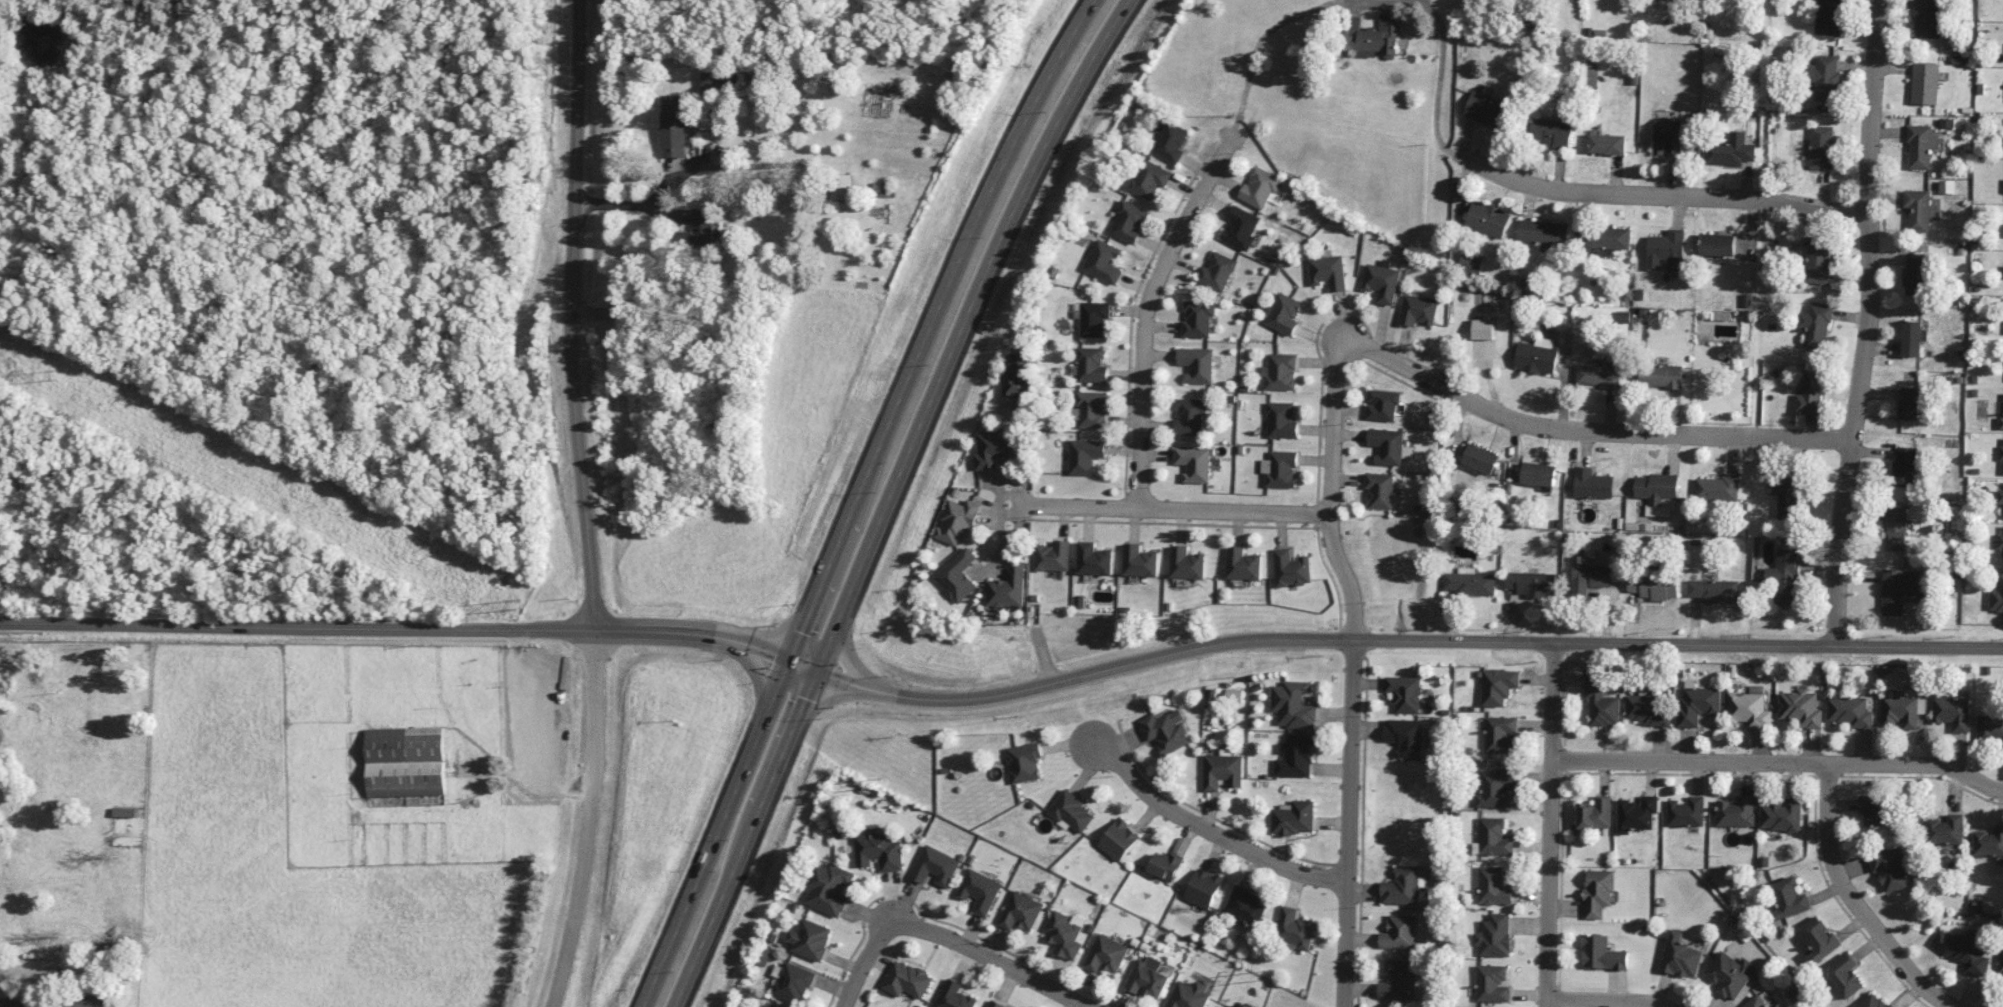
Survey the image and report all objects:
building: (1829, 17)
building: (1928, 19)
road: (1263, 34)
building: (1372, 37)
road: (1439, 74)
building: (1825, 77)
building: (713, 82)
building: (1925, 83)
building: (1487, 109)
building: (675, 126)
building: (1551, 131)
building: (1668, 135)
building: (1171, 142)
building: (1607, 144)
building: (1821, 147)
building: (1919, 147)
building: (1729, 150)
building: (1150, 179)
building: (841, 187)
building: (1259, 188)
road: (1654, 194)
road: (630, 204)
building: (1918, 210)
building: (1487, 219)
building: (1129, 222)
building: (1240, 227)
building: (1542, 232)
building: (700, 237)
building: (1717, 244)
building: (1666, 250)
building: (1818, 261)
building: (1104, 262)
building: (1471, 264)
building: (1217, 272)
building: (1327, 272)
building: (1917, 274)
building: (1381, 281)
road: (1148, 302)
building: (1418, 310)
building: (1283, 313)
road: (574, 315)
building: (1198, 318)
building: (1094, 319)
road: (1867, 323)
building: (1815, 325)
building: (1911, 338)
building: (1536, 356)
building: (1197, 364)
building: (1091, 365)
building: (1280, 372)
building: (1597, 374)
building: (1018, 376)
building: (1660, 376)
power tower: (58, 377)
building: (1810, 392)
building: (1909, 403)
building: (1382, 405)
building: (1089, 410)
building: (1190, 416)
building: (1281, 420)
building: (2001, 423)
road: (1584, 430)
building: (1387, 445)
building: (994, 447)
building: (2002, 449)
building: (1085, 455)
building: (1481, 458)
building: (1193, 463)
building: (1905, 466)
building: (1279, 469)
building: (1539, 475)
building: (1592, 484)
building: (1716, 488)
road: (1331, 490)
building: (1380, 490)
building: (1657, 493)
road: (889, 496)
building: (2000, 496)
road: (858, 498)
building: (1787, 498)
road: (1187, 509)
building: (956, 522)
building: (1897, 528)
building: (2000, 541)
building: (1053, 556)
building: (1094, 559)
building: (1139, 561)
building: (1186, 563)
building: (1243, 564)
building: (1291, 568)
building: (957, 576)
building: (1588, 576)
building: (1785, 577)
building: (1470, 582)
building: (1532, 583)
building: (1654, 585)
building: (1008, 587)
building: (1714, 590)
building: (1901, 590)
building: (1997, 595)
power tower: (515, 605)
road: (411, 628)
road: (1403, 641)
traffic signals: (788, 659)
road: (850, 663)
road: (757, 670)
traffic signals: (816, 670)
building: (1498, 686)
building: (1406, 693)
road: (828, 701)
building: (1602, 703)
building: (1293, 704)
building: (1698, 704)
building: (1802, 707)
building: (1650, 709)
building: (1749, 709)
building: (1903, 711)
building: (1851, 712)
building: (1953, 712)
building: (1990, 728)
building: (1166, 731)
building: (1501, 734)
building: (1407, 736)
building: (1295, 756)
building: (405, 761)
building: (1024, 762)
road: (1780, 762)
building: (1222, 771)
power tower: (875, 785)
building: (1497, 787)
building: (1876, 809)
building: (1071, 812)
building: (1687, 812)
building: (1736, 812)
building: (1596, 813)
building: (1637, 814)
building: (1782, 815)
building: (1294, 818)
road: (589, 820)
road: (1349, 824)
road: (1550, 825)
building: (1947, 830)
road: (1209, 831)
building: (1493, 838)
building: (1119, 840)
building: (1989, 842)
building: (879, 850)
building: (1166, 865)
building: (935, 866)
building: (1891, 868)
building: (1493, 886)
building: (1402, 887)
building: (828, 888)
building: (1203, 888)
building: (980, 890)
building: (1598, 892)
building: (1790, 898)
road: (1855, 902)
building: (1245, 906)
building: (1021, 912)
building: (1294, 928)
building: (1400, 932)
building: (1065, 934)
building: (1494, 936)
building: (810, 939)
building: (1820, 939)
building: (1964, 950)
building: (1601, 953)
building: (1106, 954)
building: (1681, 956)
building: (2001, 957)
road: (989, 958)
road: (864, 960)
building: (1730, 974)
building: (1845, 975)
building: (1148, 978)
power tower: (1258, 978)
building: (906, 980)
building: (1399, 980)
building: (792, 982)
building: (1491, 984)
building: (954, 995)
building: (1189, 995)
building: (89, 1000)
road: (1603, 1000)
building: (1876, 1001)
building: (23, 1002)
building: (1757, 1002)
building: (995, 1004)
building: (774, 1006)
building: (1229, 1006)
building: (1244, 1006)

